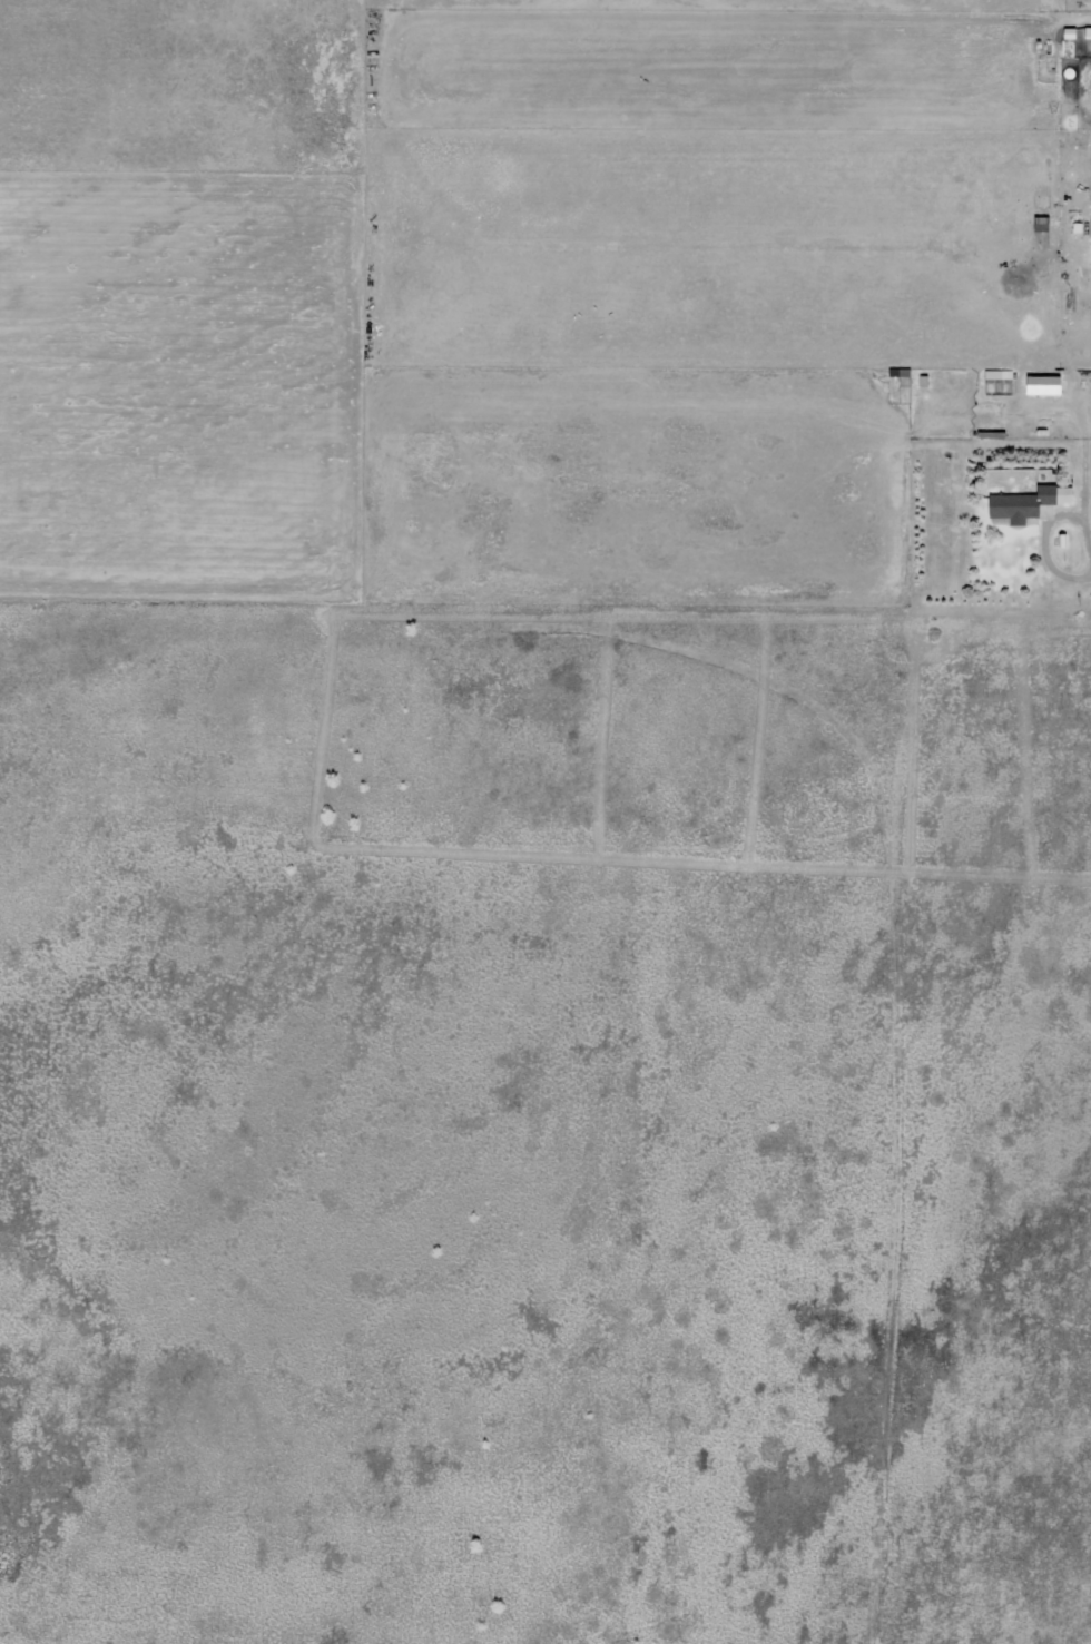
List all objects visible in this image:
building: (1038, 224)
building: (1088, 232)
building: (992, 374)
building: (1039, 384)
building: (1024, 502)

